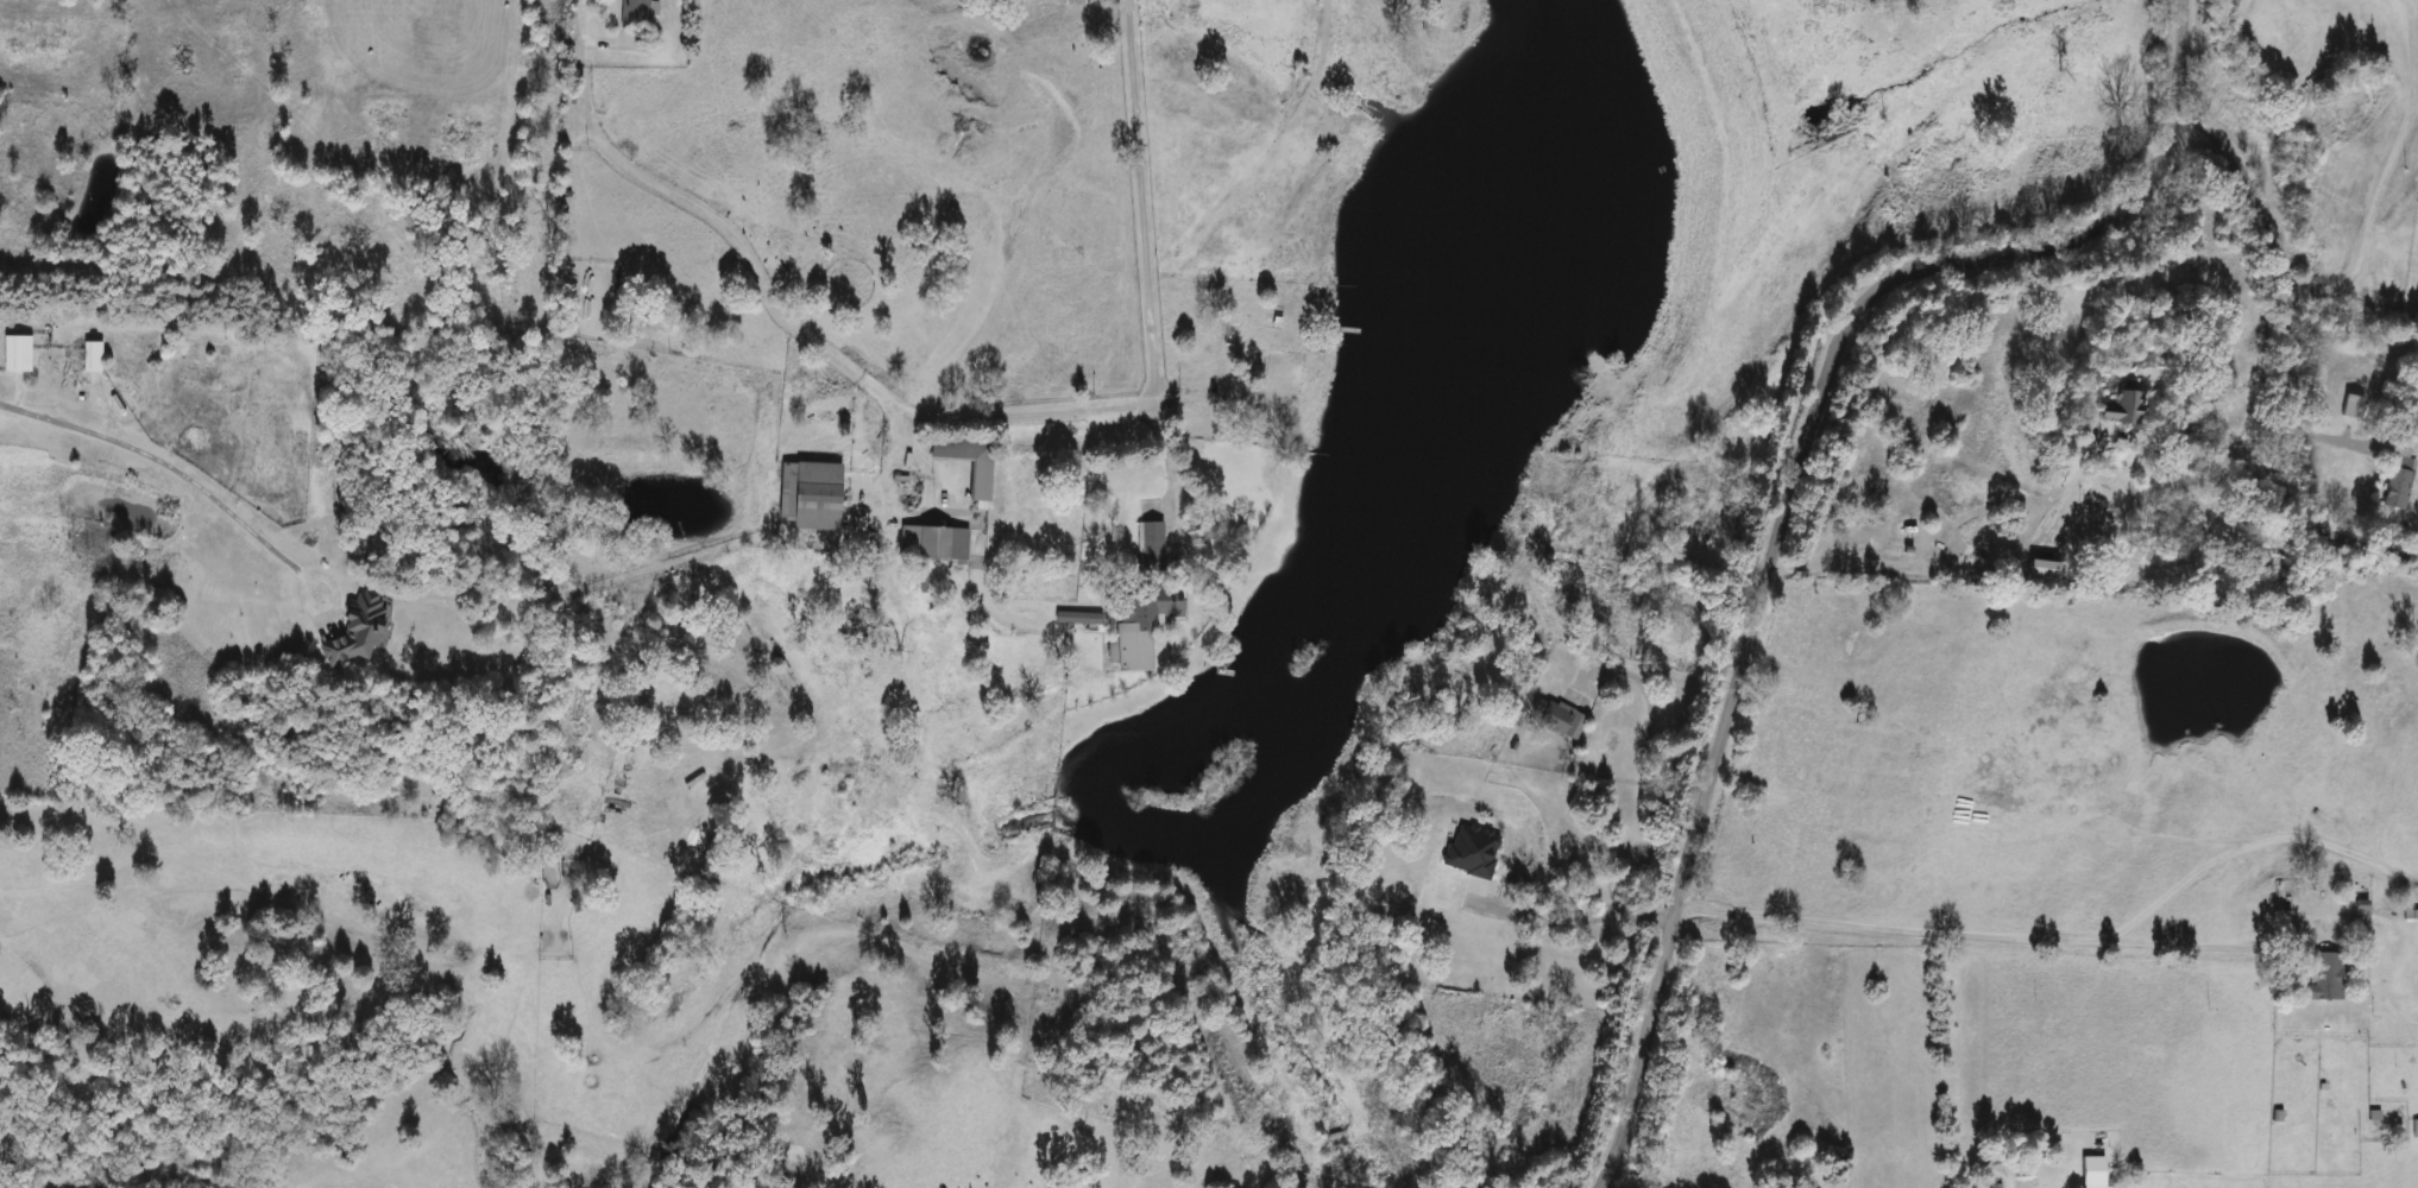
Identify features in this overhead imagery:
road: (1126, 8)
building: (640, 13)
road: (2393, 146)
road: (2310, 284)
road: (2376, 293)
building: (23, 354)
building: (97, 358)
road: (2280, 364)
building: (2351, 407)
building: (2114, 410)
road: (934, 421)
road: (165, 468)
building: (2398, 480)
building: (977, 482)
building: (818, 495)
road: (1789, 500)
building: (931, 544)
building: (1147, 549)
road: (1965, 570)
road: (333, 617)
building: (1134, 630)
building: (363, 632)
building: (1548, 715)
building: (1468, 853)
building: (2405, 917)
road: (1576, 921)
road: (1992, 937)
building: (2324, 979)
building: (2413, 1130)
building: (2089, 1173)

